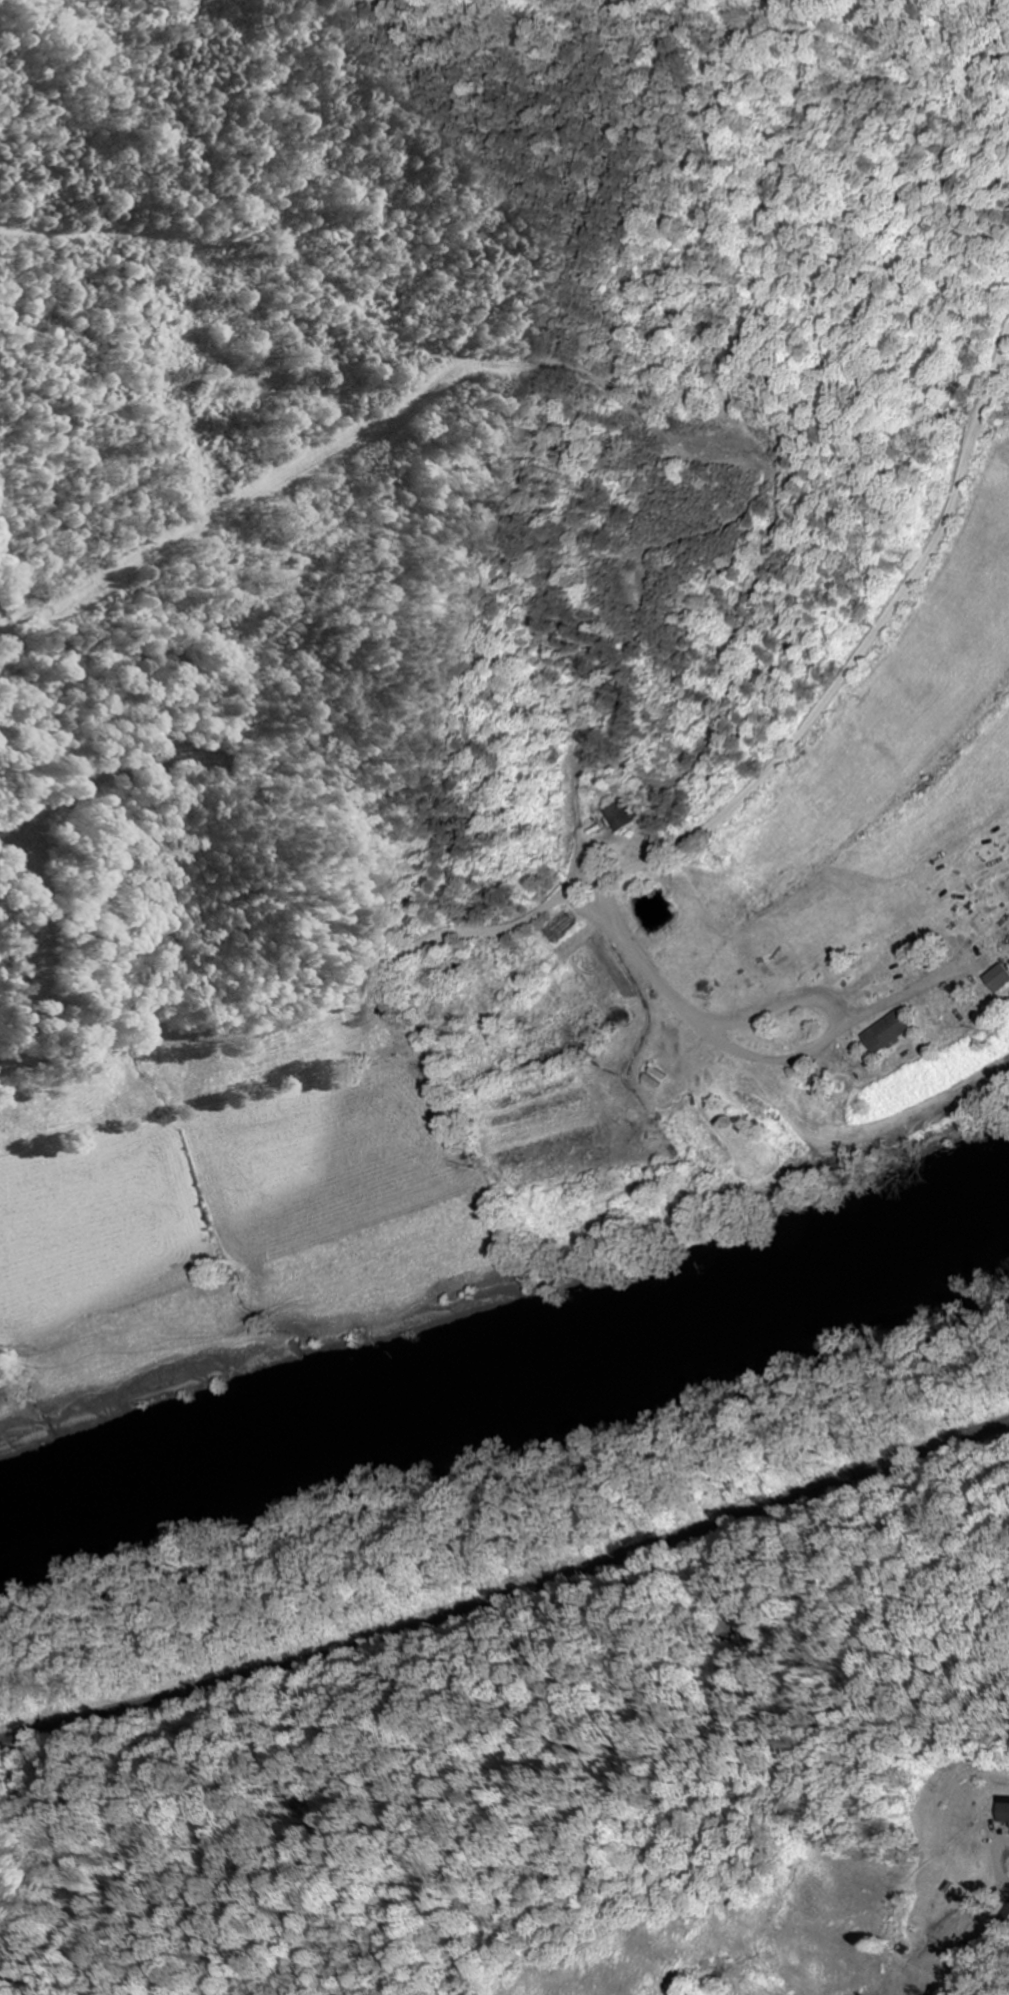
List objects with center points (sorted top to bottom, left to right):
road: (776, 553)
building: (619, 815)
road: (632, 864)
road: (655, 976)
building: (1002, 979)
building: (895, 1032)
river: (508, 1387)
railway: (508, 1594)
building: (1004, 1810)
road: (979, 1945)

